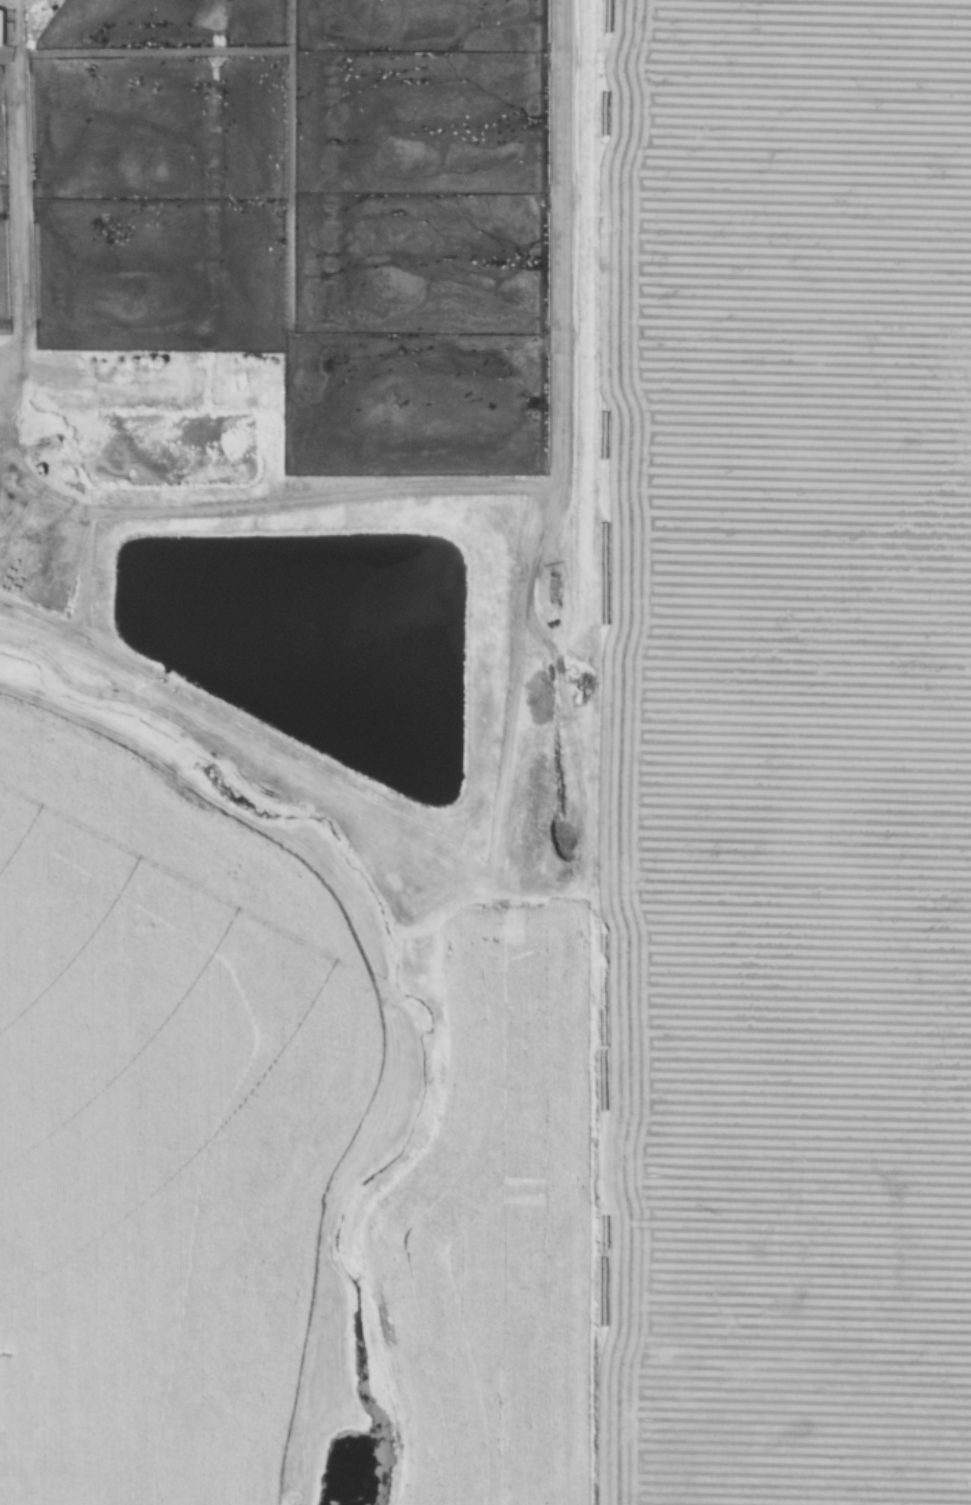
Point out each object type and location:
building: (0, 27)
road: (514, 489)
building: (445, 722)

